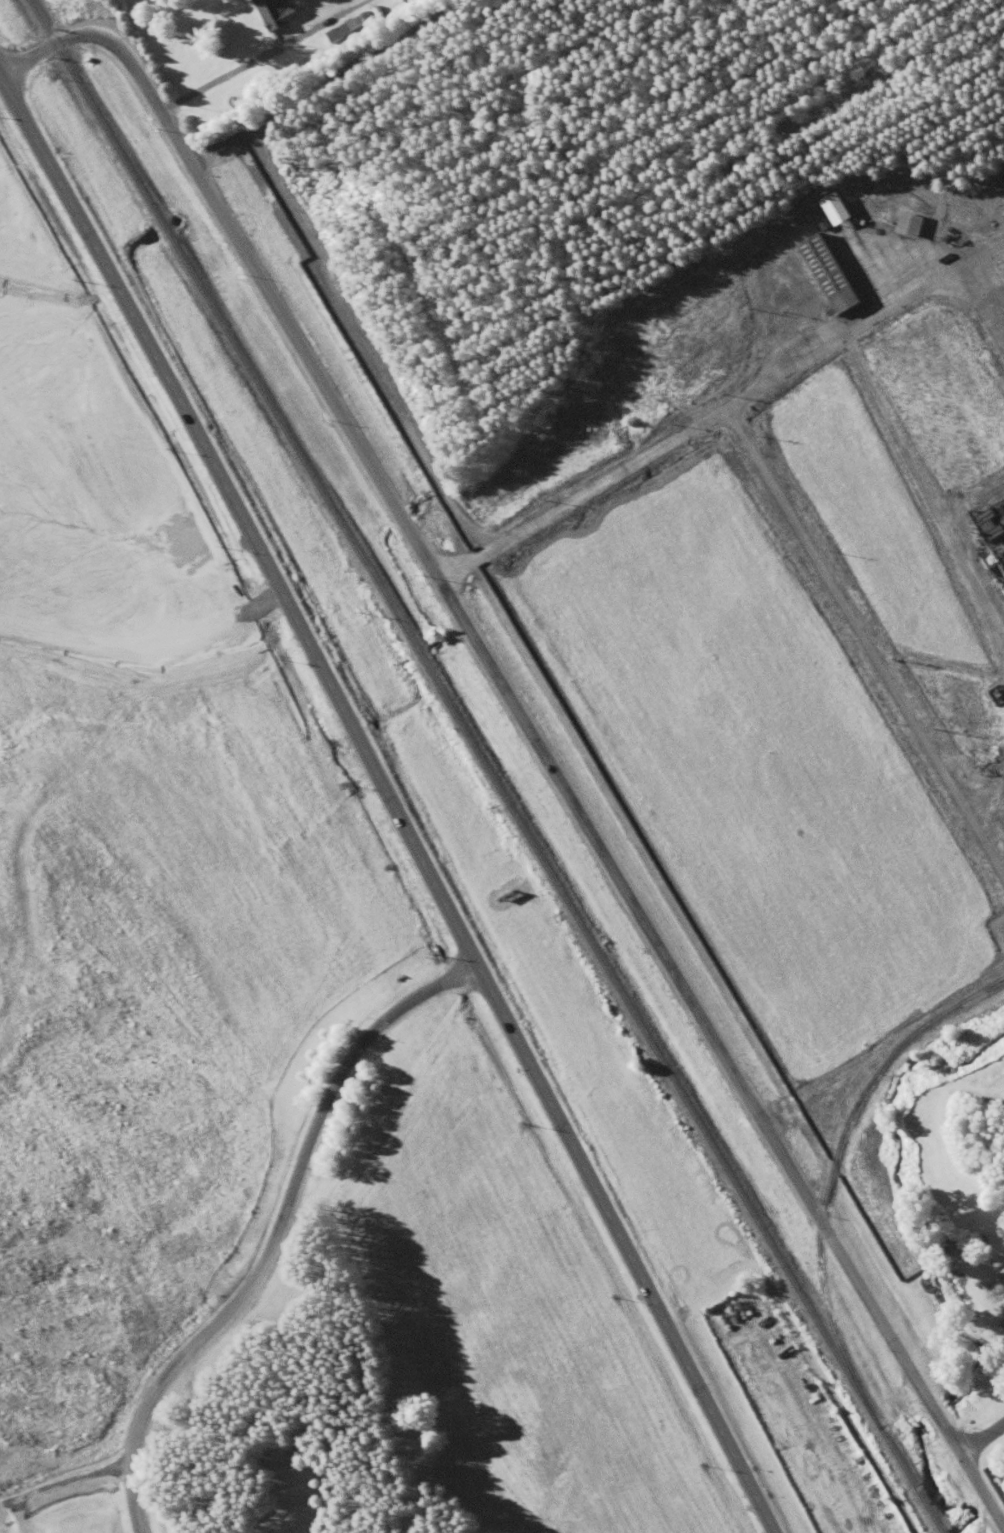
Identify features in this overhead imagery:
building: (275, 14)
road: (96, 15)
road: (92, 28)
building: (338, 33)
road: (258, 54)
building: (839, 210)
building: (912, 226)
building: (833, 275)
road: (297, 343)
road: (48, 410)
road: (719, 412)
road: (865, 642)
road: (145, 652)
railway: (484, 766)
road: (391, 804)
road: (599, 851)
railway: (982, 992)
railway: (830, 1171)
road: (275, 1233)
road: (881, 1328)
road: (980, 1437)
road: (56, 1487)

